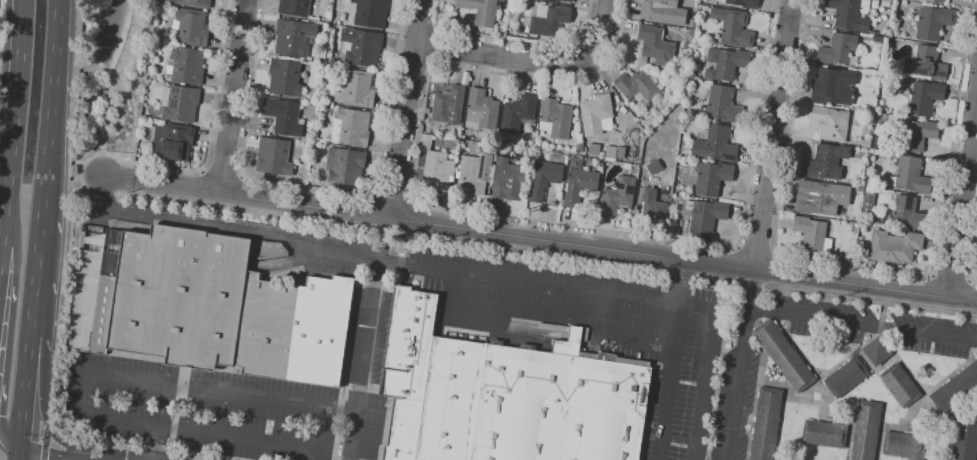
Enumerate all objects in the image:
building: (555, 0)
building: (569, 0)
building: (938, 0)
building: (194, 2)
building: (744, 3)
building: (886, 3)
building: (294, 7)
building: (481, 10)
building: (664, 11)
building: (371, 13)
building: (851, 13)
building: (549, 19)
building: (934, 22)
road: (419, 25)
building: (733, 26)
building: (190, 27)
building: (294, 36)
road: (517, 40)
building: (878, 40)
building: (888, 41)
building: (657, 44)
building: (361, 46)
road: (439, 47)
building: (839, 49)
road: (415, 60)
road: (536, 60)
building: (726, 63)
building: (926, 63)
building: (186, 64)
rooftop solar panel: (914, 69)
rooftop solar panel: (941, 72)
road: (115, 75)
building: (285, 77)
building: (638, 86)
building: (834, 86)
building: (356, 88)
road: (234, 96)
building: (926, 97)
park: (115, 98)
building: (180, 103)
building: (723, 104)
building: (449, 105)
road: (407, 108)
building: (481, 109)
building: (519, 113)
building: (597, 114)
building: (284, 115)
building: (556, 118)
road: (13, 121)
building: (830, 122)
building: (351, 127)
rooftop solar panel: (712, 131)
building: (918, 133)
road: (209, 134)
road: (773, 134)
building: (882, 140)
building: (173, 141)
building: (866, 142)
building: (716, 144)
building: (580, 146)
building: (611, 152)
building: (621, 152)
rooftop solar panel: (728, 155)
building: (274, 156)
building: (826, 161)
road: (86, 163)
building: (437, 164)
building: (655, 167)
road: (44, 168)
building: (346, 168)
road: (222, 171)
building: (476, 172)
building: (909, 175)
building: (712, 176)
building: (509, 179)
building: (544, 179)
building: (580, 185)
rooftop solar panel: (620, 186)
road: (317, 187)
building: (861, 188)
rooftop solar panel: (629, 189)
road: (393, 195)
building: (618, 195)
building: (822, 197)
road: (962, 199)
building: (869, 201)
rooftop solar panel: (910, 203)
building: (653, 204)
building: (907, 213)
road: (508, 215)
building: (706, 215)
building: (813, 233)
road: (405, 234)
road: (539, 240)
building: (895, 246)
road: (398, 248)
road: (757, 249)
road: (972, 251)
road: (373, 260)
road: (865, 266)
road: (952, 276)
parking lot: (358, 296)
building: (206, 306)
road: (557, 314)
road: (863, 323)
parking lot: (604, 325)
road: (9, 339)
building: (878, 350)
building: (784, 355)
road: (363, 360)
road: (672, 360)
road: (708, 365)
road: (741, 365)
building: (847, 377)
building: (901, 385)
building: (956, 389)
road: (23, 392)
building: (506, 395)
road: (259, 398)
road: (42, 402)
parking lot: (197, 408)
road: (158, 422)
building: (767, 423)
road: (49, 424)
road: (139, 425)
building: (867, 430)
road: (317, 433)
building: (825, 433)
building: (965, 438)
road: (45, 439)
building: (905, 445)
traffic signals: (18, 448)
road: (50, 450)
road: (43, 452)
road: (17, 454)
road: (77, 457)
road: (103, 457)

